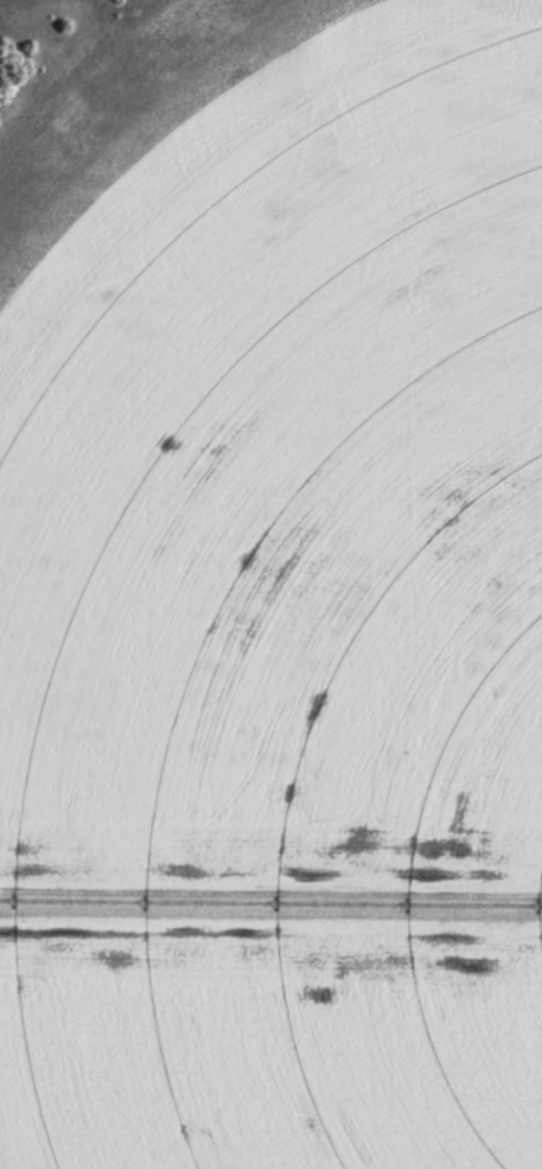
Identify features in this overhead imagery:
wastewater plant: (270, 584)
crop: (276, 598)

